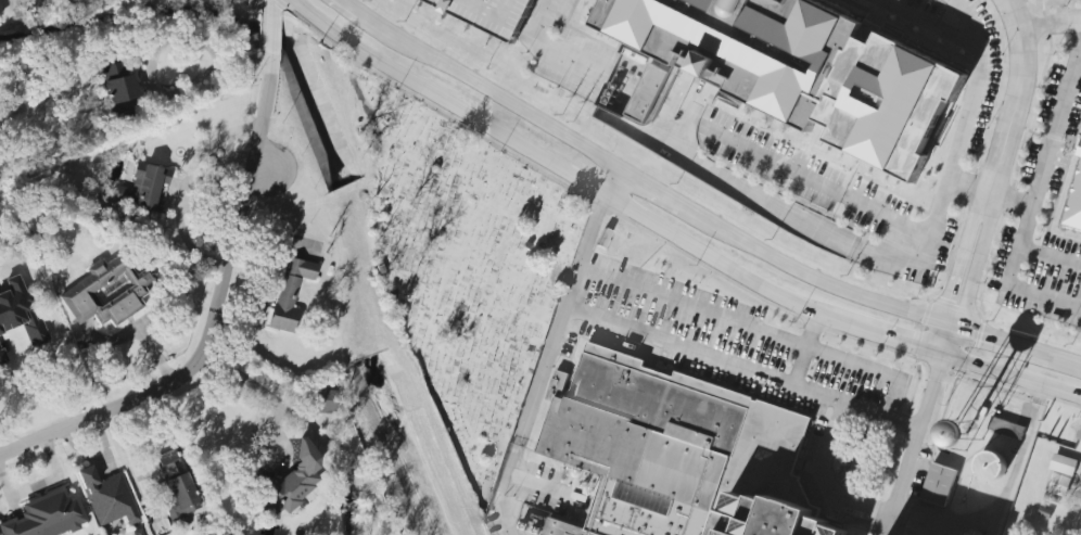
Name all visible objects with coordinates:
road: (270, 7)
building: (494, 13)
parking lot: (493, 15)
road: (543, 18)
road: (931, 23)
road: (1051, 24)
road: (269, 35)
building: (745, 47)
road: (569, 55)
parking lot: (572, 55)
road: (219, 60)
building: (120, 90)
building: (648, 93)
road: (1017, 97)
road: (667, 106)
parking lot: (984, 114)
road: (691, 117)
road: (964, 131)
road: (1050, 136)
road: (1047, 153)
road: (981, 154)
building: (1080, 155)
road: (1017, 158)
road: (609, 178)
road: (811, 178)
parking lot: (812, 181)
road: (186, 186)
building: (139, 190)
road: (991, 193)
road: (1058, 193)
road: (756, 195)
parking lot: (1046, 198)
building: (1076, 209)
road: (698, 213)
road: (671, 231)
road: (1051, 256)
park: (463, 268)
road: (957, 270)
road: (974, 275)
building: (109, 292)
building: (291, 293)
road: (1044, 296)
road: (955, 308)
building: (20, 311)
road: (208, 315)
road: (740, 322)
parking lot: (711, 336)
road: (806, 348)
building: (2, 356)
road: (544, 364)
road: (741, 366)
road: (244, 385)
road: (898, 398)
building: (1006, 428)
road: (5, 432)
road: (1028, 433)
building: (965, 434)
building: (1078, 436)
road: (914, 444)
building: (679, 454)
road: (98, 459)
building: (991, 467)
building: (1063, 475)
road: (823, 477)
building: (292, 481)
road: (42, 484)
building: (939, 484)
building: (177, 487)
road: (545, 487)
building: (107, 497)
building: (46, 515)
building: (138, 532)

